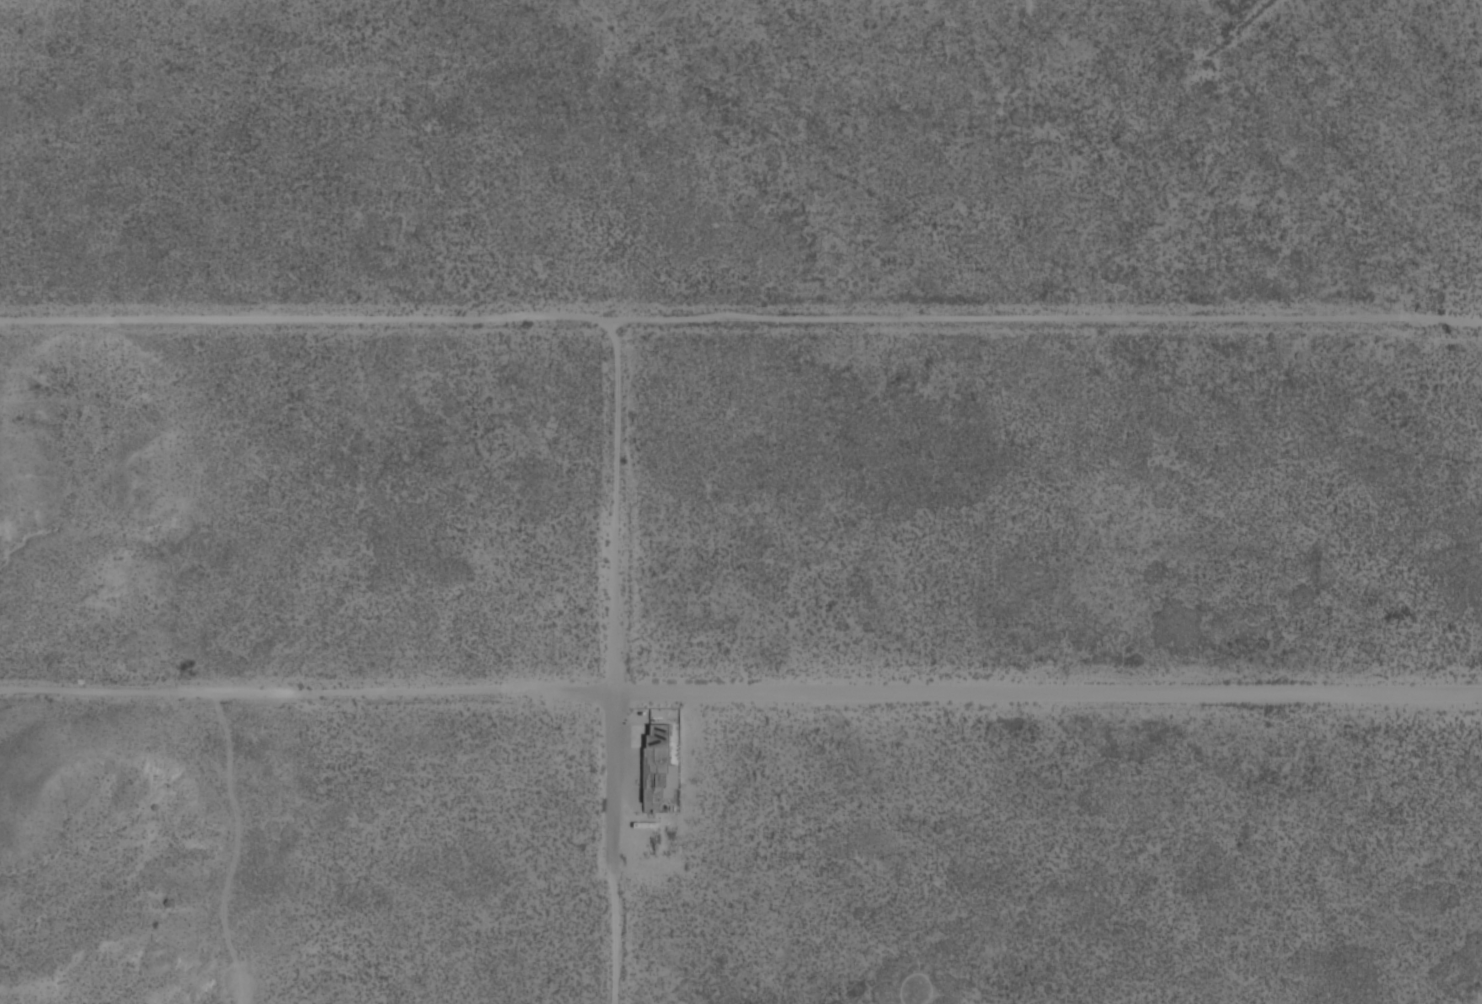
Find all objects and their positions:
road: (340, 318)
road: (620, 359)
road: (1047, 692)
road: (612, 851)

